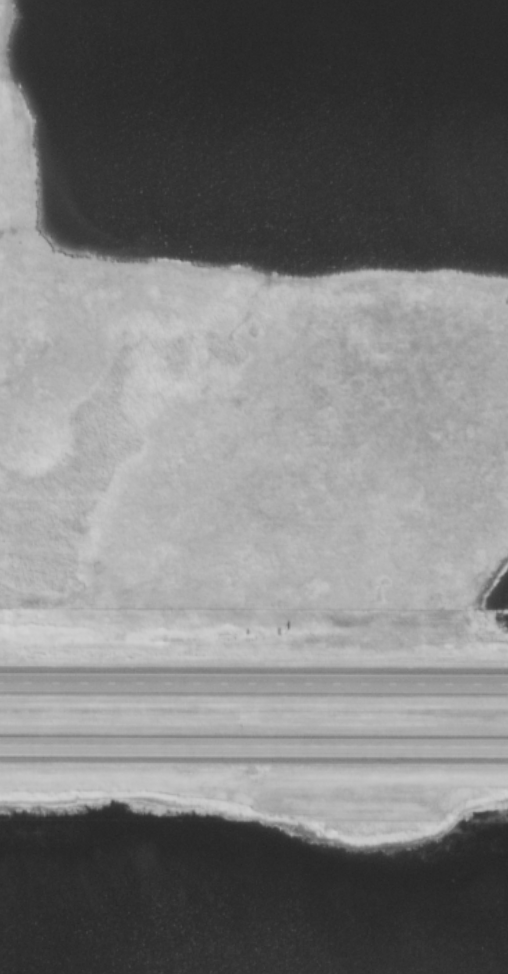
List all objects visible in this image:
road: (253, 686)
road: (254, 751)

